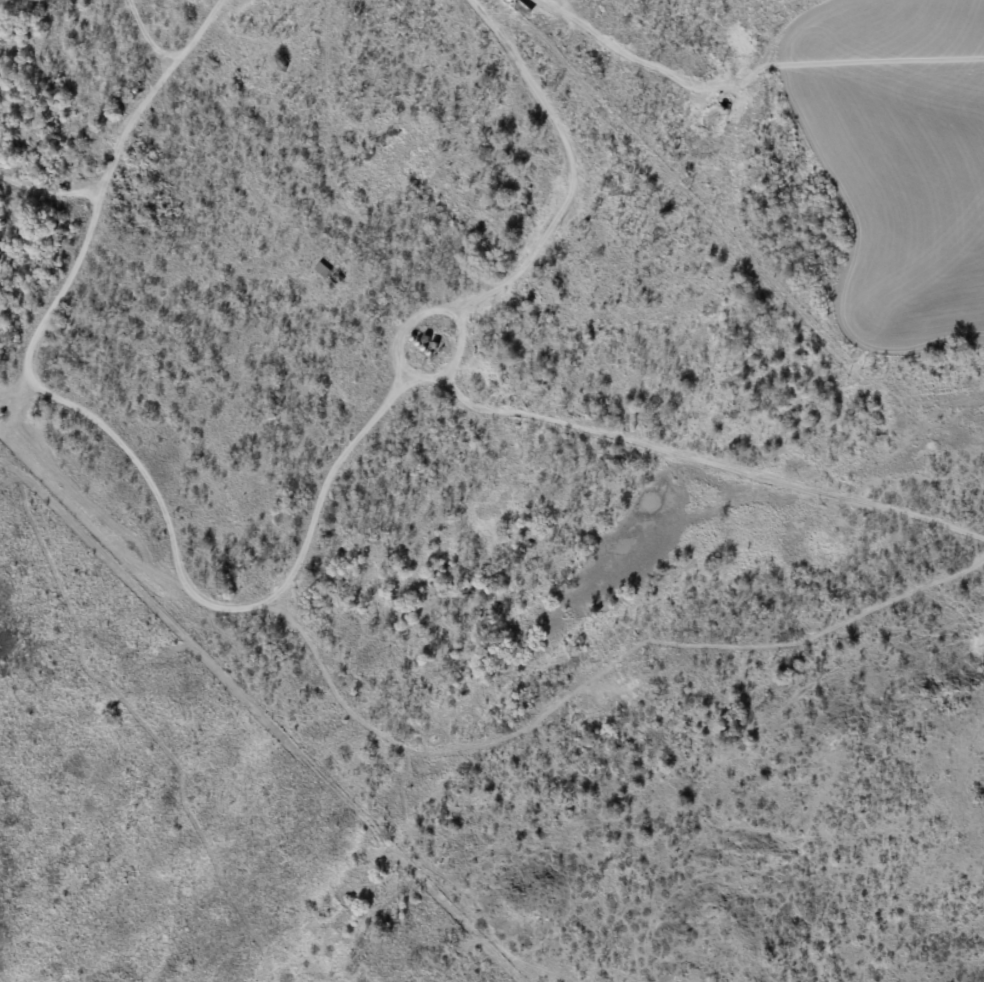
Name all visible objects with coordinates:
building: (522, 8)

